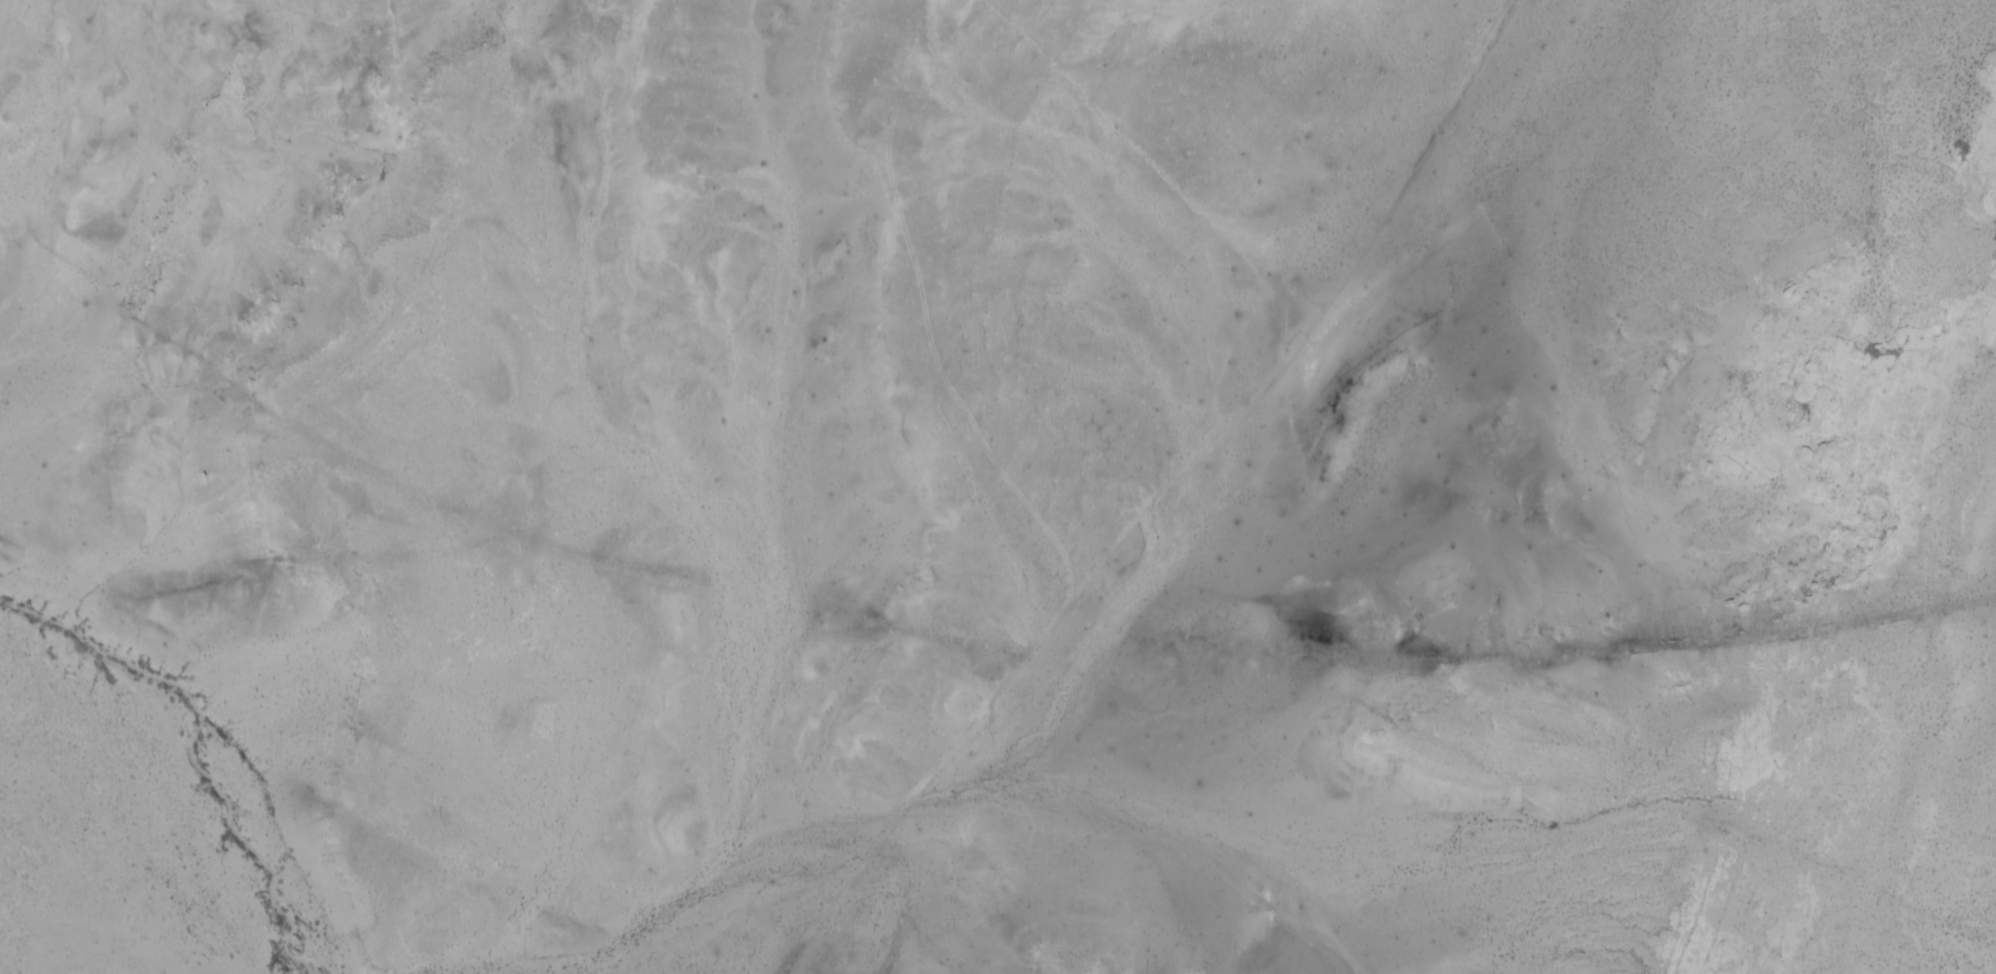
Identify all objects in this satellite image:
road: (1154, 500)

